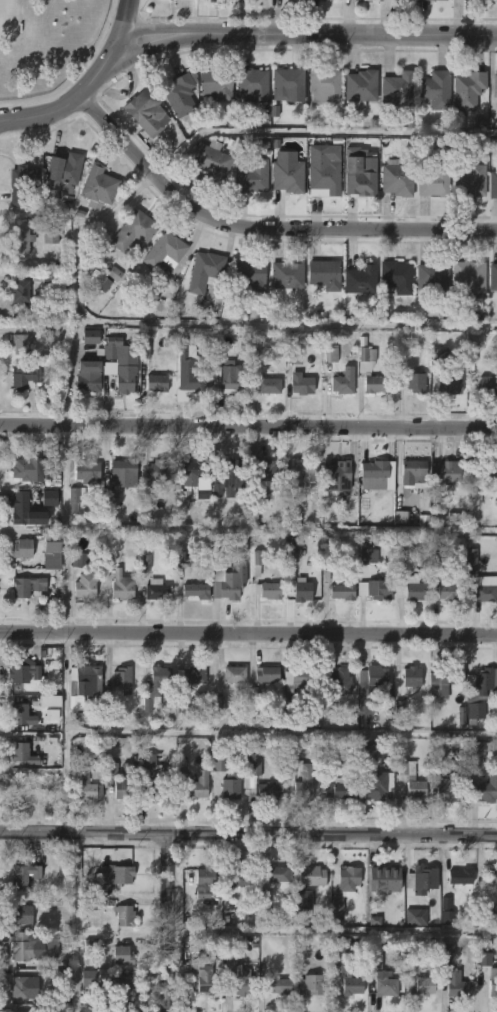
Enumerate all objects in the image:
building: (424, 0)
building: (480, 0)
road: (309, 34)
building: (214, 82)
road: (86, 83)
building: (286, 83)
building: (251, 84)
building: (322, 84)
building: (494, 85)
building: (358, 88)
building: (396, 90)
building: (435, 90)
building: (466, 91)
building: (179, 94)
building: (147, 112)
building: (265, 112)
road: (317, 131)
building: (210, 162)
building: (322, 169)
building: (286, 174)
building: (357, 174)
building: (60, 175)
building: (249, 176)
building: (396, 178)
building: (468, 179)
building: (21, 181)
building: (433, 181)
building: (492, 185)
building: (97, 187)
road: (261, 226)
building: (136, 230)
building: (50, 236)
building: (22, 241)
building: (164, 251)
building: (203, 271)
building: (322, 272)
building: (114, 274)
building: (248, 275)
building: (284, 275)
building: (397, 275)
building: (431, 275)
building: (468, 275)
building: (492, 275)
building: (360, 280)
building: (98, 281)
building: (22, 292)
building: (90, 336)
building: (24, 344)
building: (294, 353)
building: (471, 354)
building: (330, 355)
building: (435, 357)
building: (119, 362)
building: (368, 371)
building: (226, 373)
building: (25, 376)
building: (187, 377)
building: (155, 381)
building: (343, 381)
building: (88, 382)
building: (415, 382)
building: (448, 384)
building: (486, 384)
building: (301, 385)
building: (268, 386)
road: (248, 426)
building: (194, 468)
building: (26, 469)
building: (486, 470)
building: (87, 471)
building: (154, 471)
building: (446, 471)
building: (266, 472)
building: (306, 472)
building: (121, 473)
building: (375, 474)
building: (409, 474)
building: (336, 475)
building: (229, 476)
building: (203, 493)
building: (74, 495)
building: (49, 498)
building: (111, 498)
building: (474, 500)
building: (255, 502)
building: (26, 512)
building: (22, 549)
building: (49, 550)
building: (368, 556)
building: (258, 557)
building: (80, 560)
building: (326, 562)
building: (471, 566)
building: (225, 577)
building: (25, 587)
building: (85, 587)
building: (483, 588)
building: (124, 589)
building: (342, 589)
building: (371, 589)
building: (410, 589)
building: (194, 590)
building: (157, 591)
building: (269, 591)
building: (301, 591)
building: (447, 592)
road: (248, 634)
building: (21, 670)
building: (235, 673)
building: (195, 674)
building: (268, 674)
building: (410, 676)
building: (123, 678)
building: (494, 678)
building: (340, 680)
road: (65, 681)
building: (82, 683)
building: (441, 684)
building: (295, 685)
building: (155, 686)
building: (476, 691)
building: (360, 692)
building: (19, 710)
road: (281, 732)
building: (23, 753)
building: (475, 754)
building: (255, 764)
building: (219, 765)
building: (182, 766)
building: (289, 767)
building: (95, 771)
building: (165, 774)
building: (369, 775)
road: (65, 781)
building: (123, 783)
building: (83, 785)
building: (303, 785)
building: (193, 786)
building: (230, 786)
building: (27, 787)
building: (417, 788)
building: (337, 789)
building: (447, 789)
building: (267, 790)
building: (482, 791)
road: (248, 833)
building: (307, 873)
building: (118, 874)
building: (275, 874)
building: (25, 875)
building: (236, 875)
building: (347, 876)
building: (382, 876)
building: (416, 876)
building: (458, 876)
building: (491, 876)
building: (206, 881)
building: (264, 899)
building: (303, 900)
building: (337, 902)
building: (91, 903)
building: (485, 908)
building: (22, 914)
building: (123, 915)
building: (415, 917)
building: (447, 917)
road: (174, 923)
road: (335, 930)
building: (24, 948)
building: (448, 953)
building: (122, 955)
building: (484, 959)
building: (374, 961)
building: (96, 976)
building: (208, 979)
building: (493, 982)
building: (239, 983)
building: (309, 983)
building: (457, 983)
building: (278, 984)
building: (343, 985)
building: (425, 985)
building: (384, 986)
building: (20, 988)
building: (124, 990)
building: (47, 1009)
building: (103, 1009)

